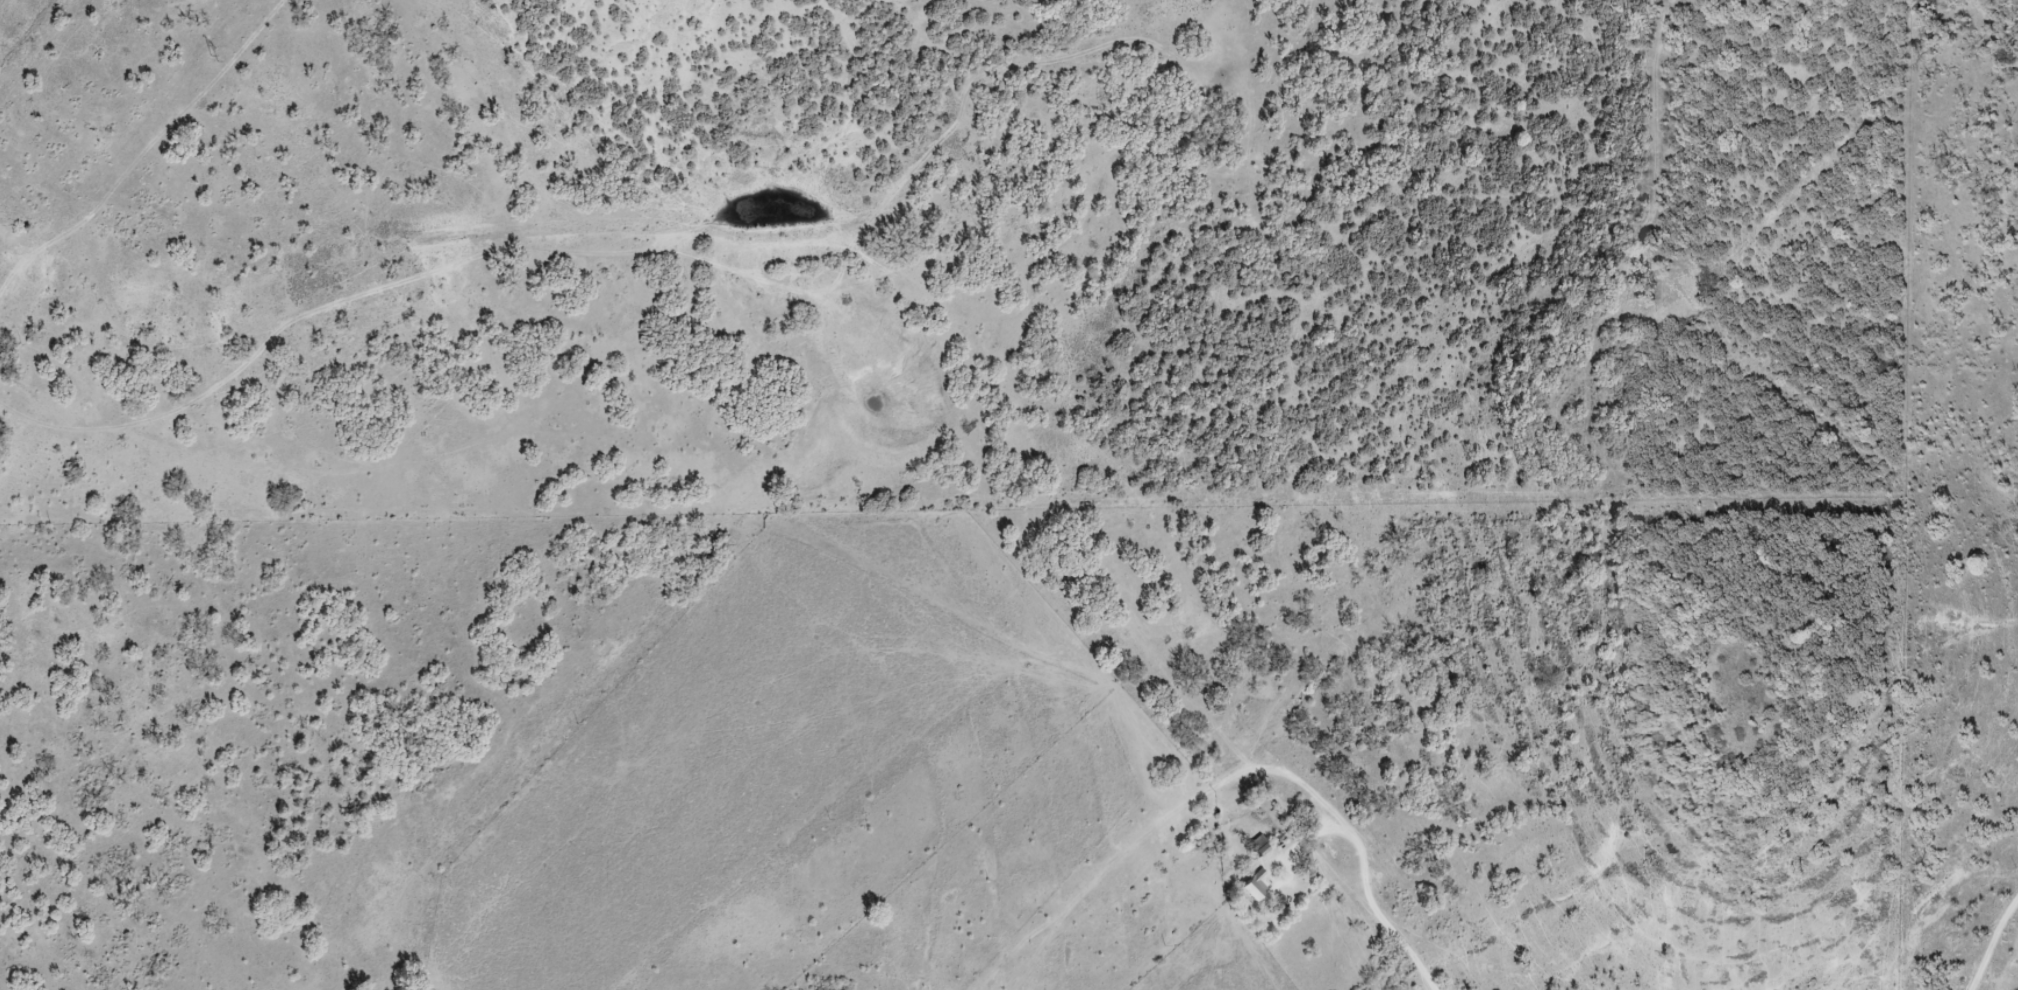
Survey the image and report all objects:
power tower: (213, 61)
building: (1258, 847)
building: (1251, 891)

